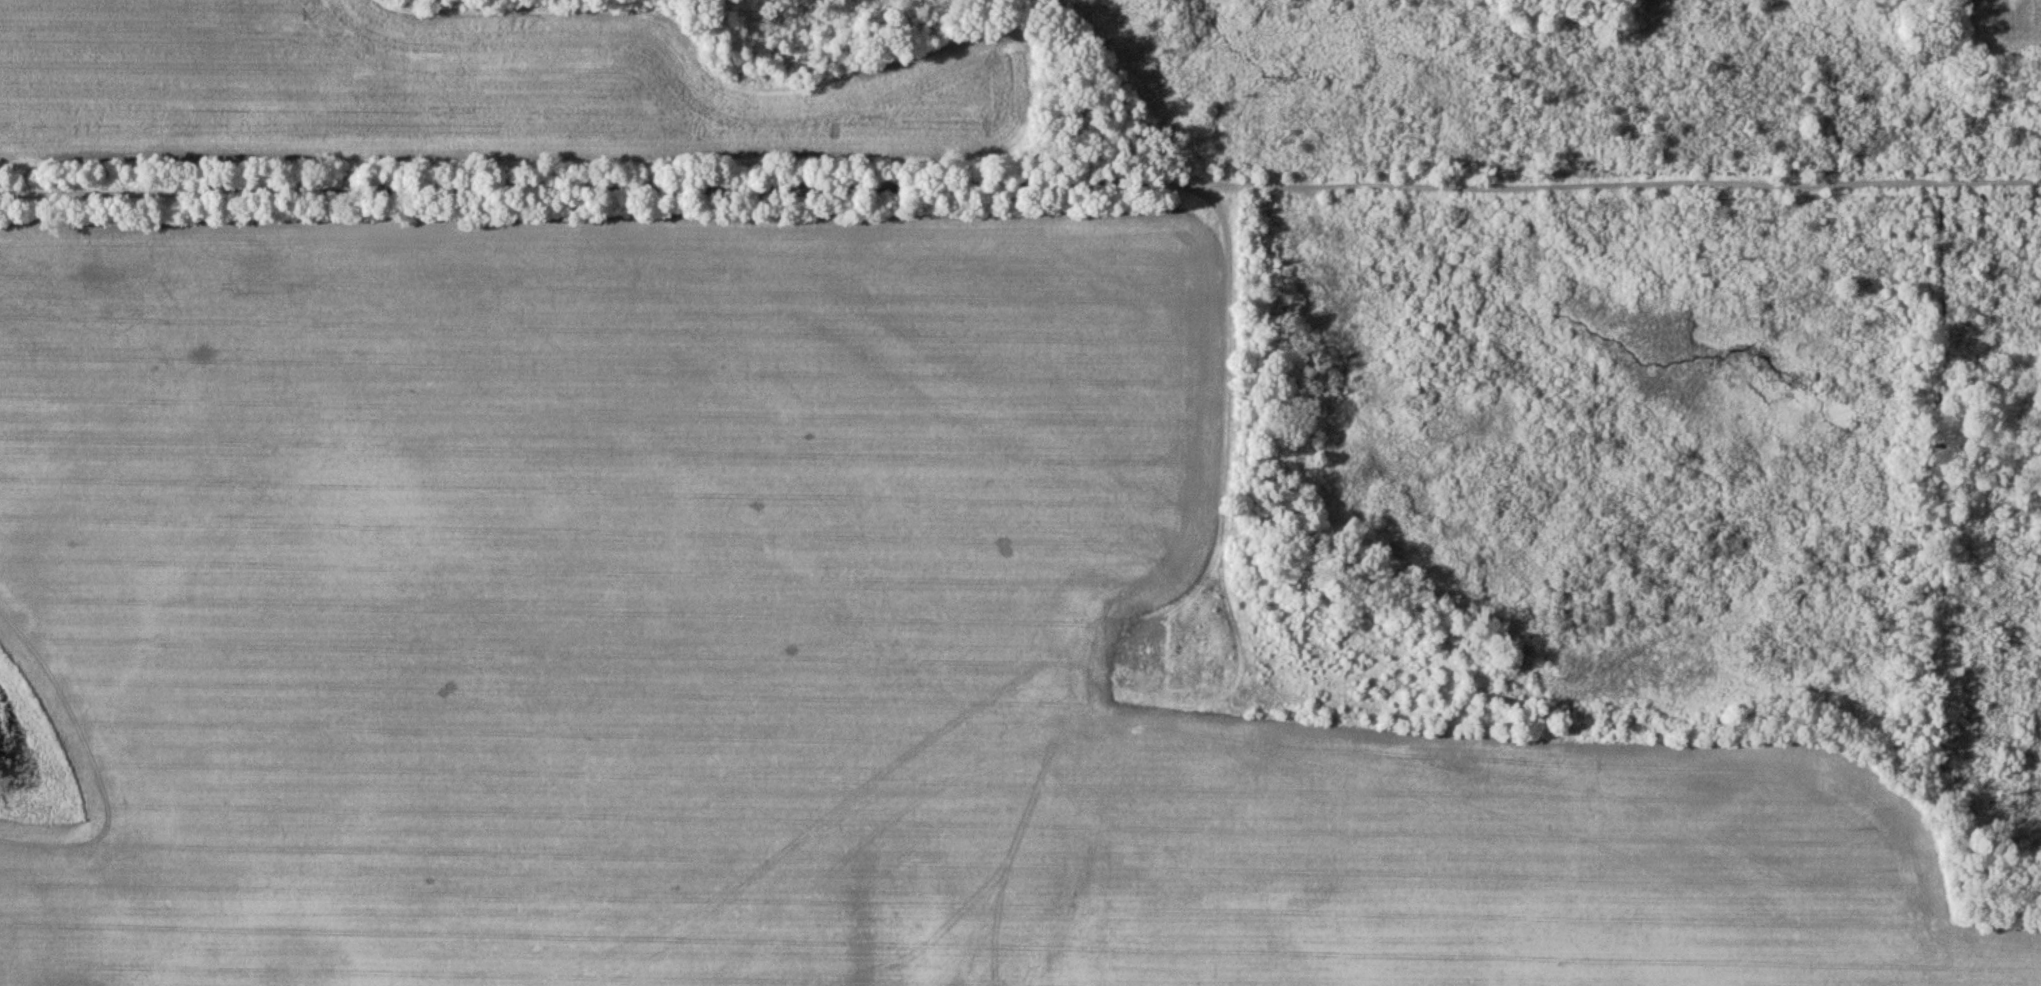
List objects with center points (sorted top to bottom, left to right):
road: (1020, 185)
road: (1227, 517)

